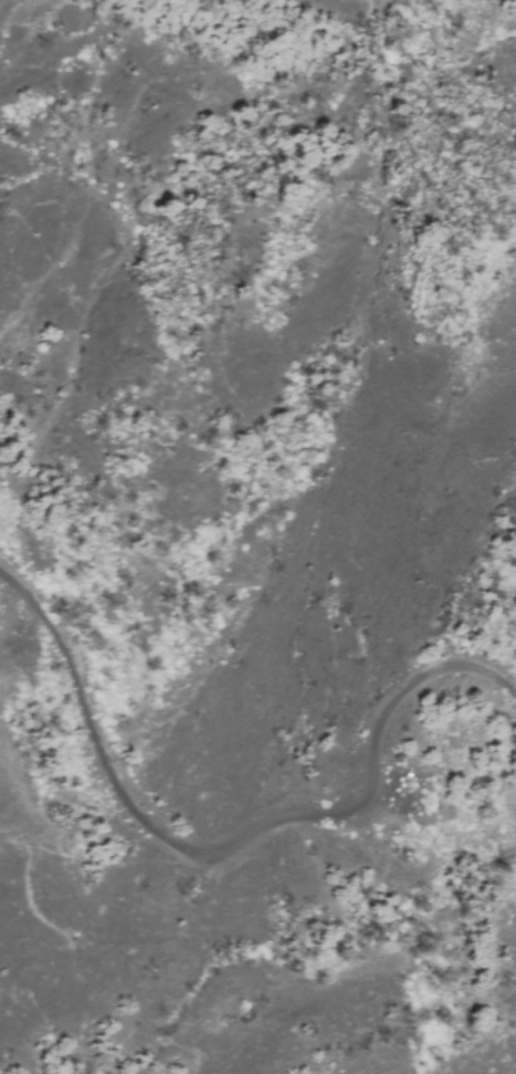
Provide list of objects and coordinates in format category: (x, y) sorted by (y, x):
road: (231, 845)

